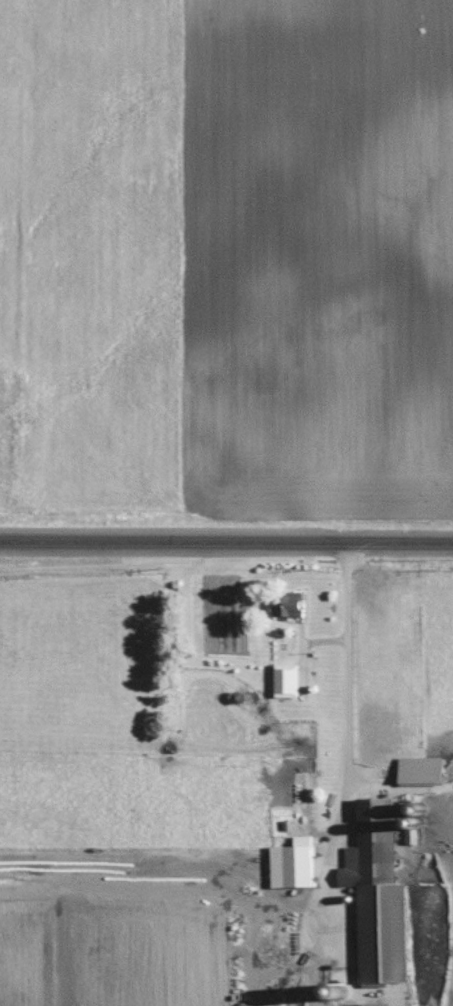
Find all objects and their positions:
road: (226, 541)
building: (288, 605)
building: (284, 648)
road: (351, 686)
building: (289, 695)
building: (376, 839)
building: (295, 865)

